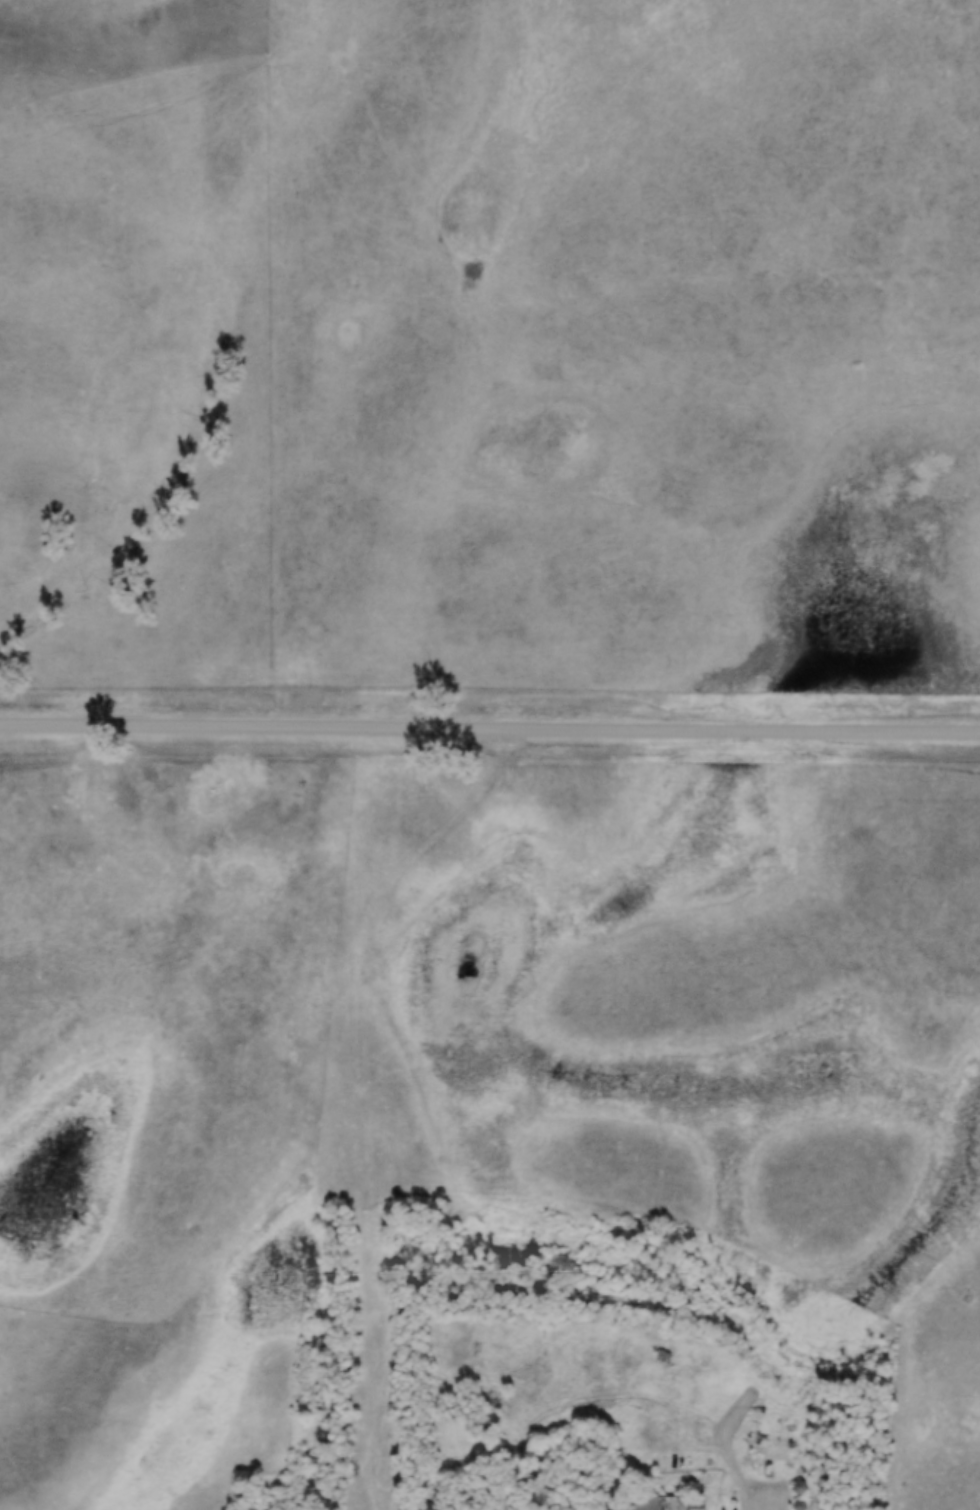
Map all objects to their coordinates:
road: (490, 727)
building: (663, 1357)
building: (668, 1503)

